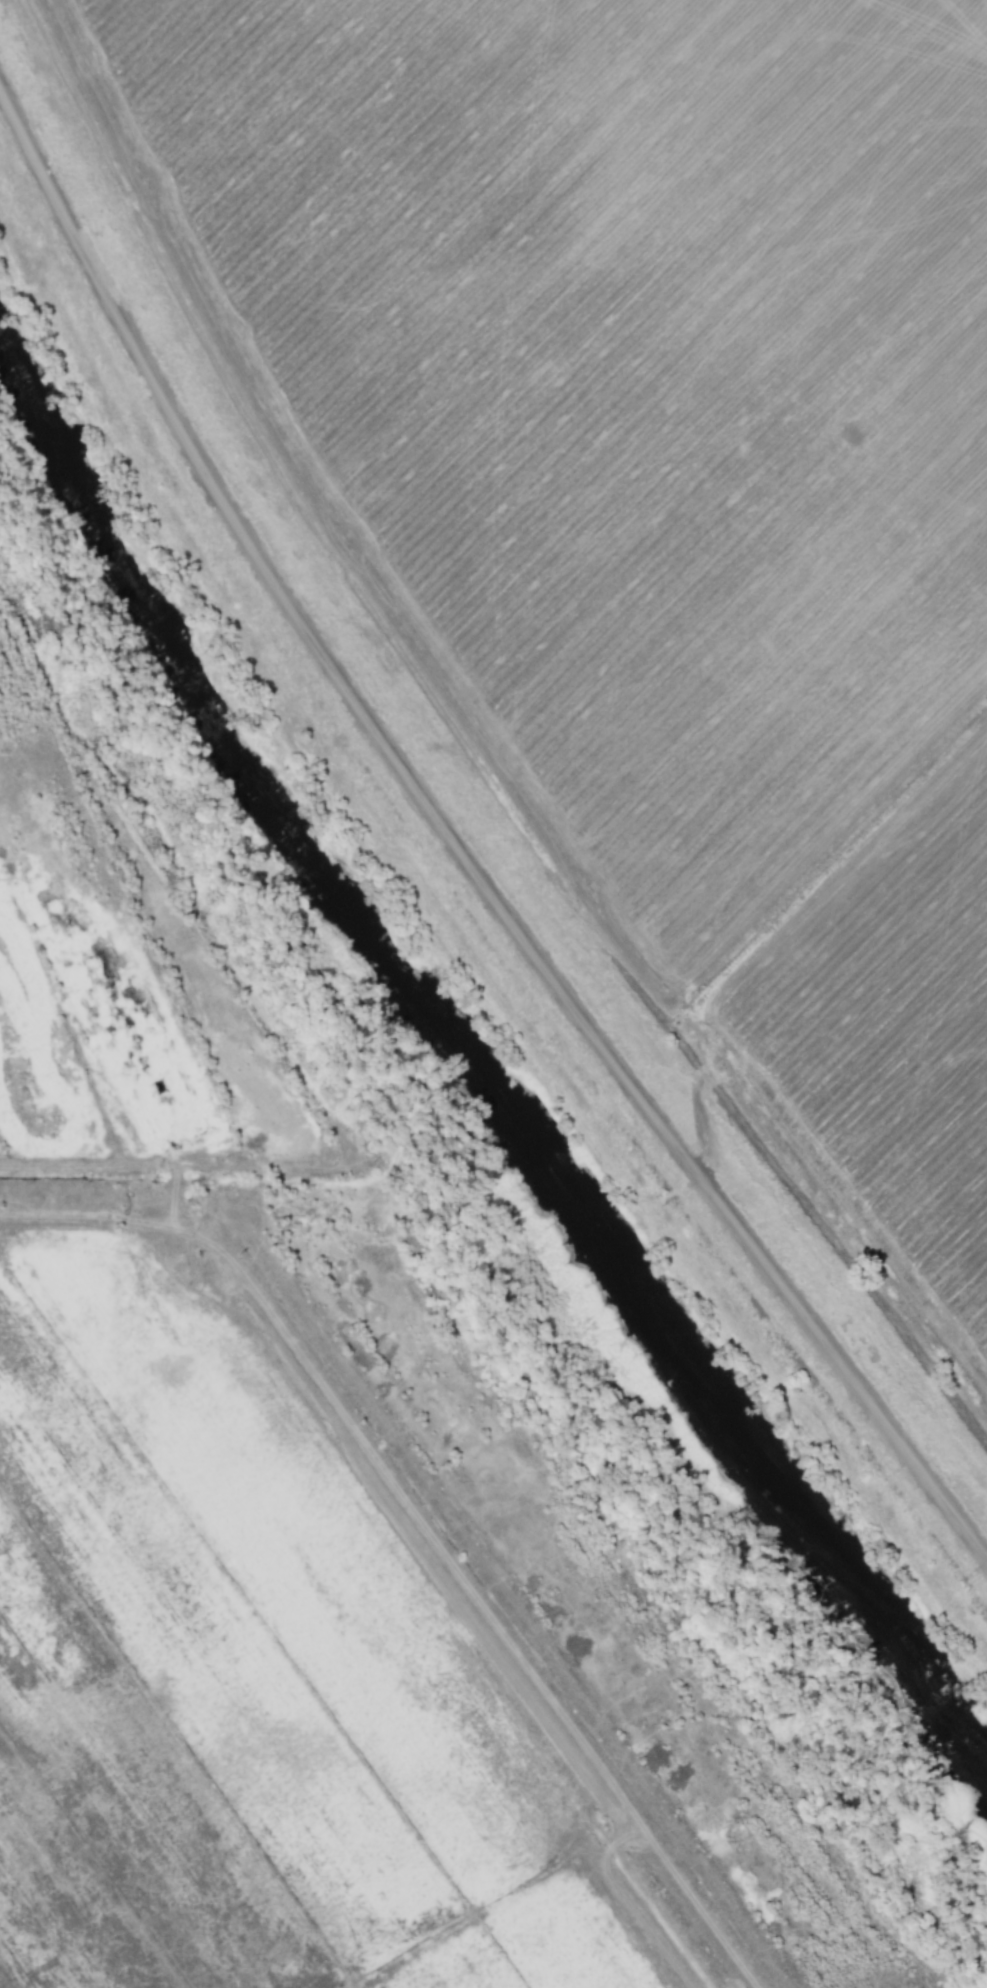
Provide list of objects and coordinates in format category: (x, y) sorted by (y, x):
crop: (632, 516)
crop: (352, 1476)

